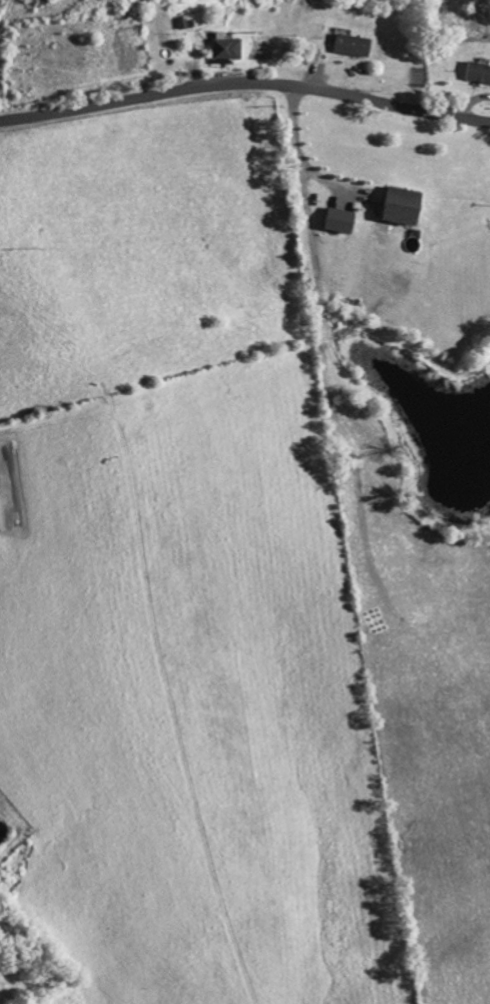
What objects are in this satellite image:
building: (348, 46)
building: (222, 50)
building: (476, 75)
road: (245, 84)
building: (395, 207)
building: (334, 222)

